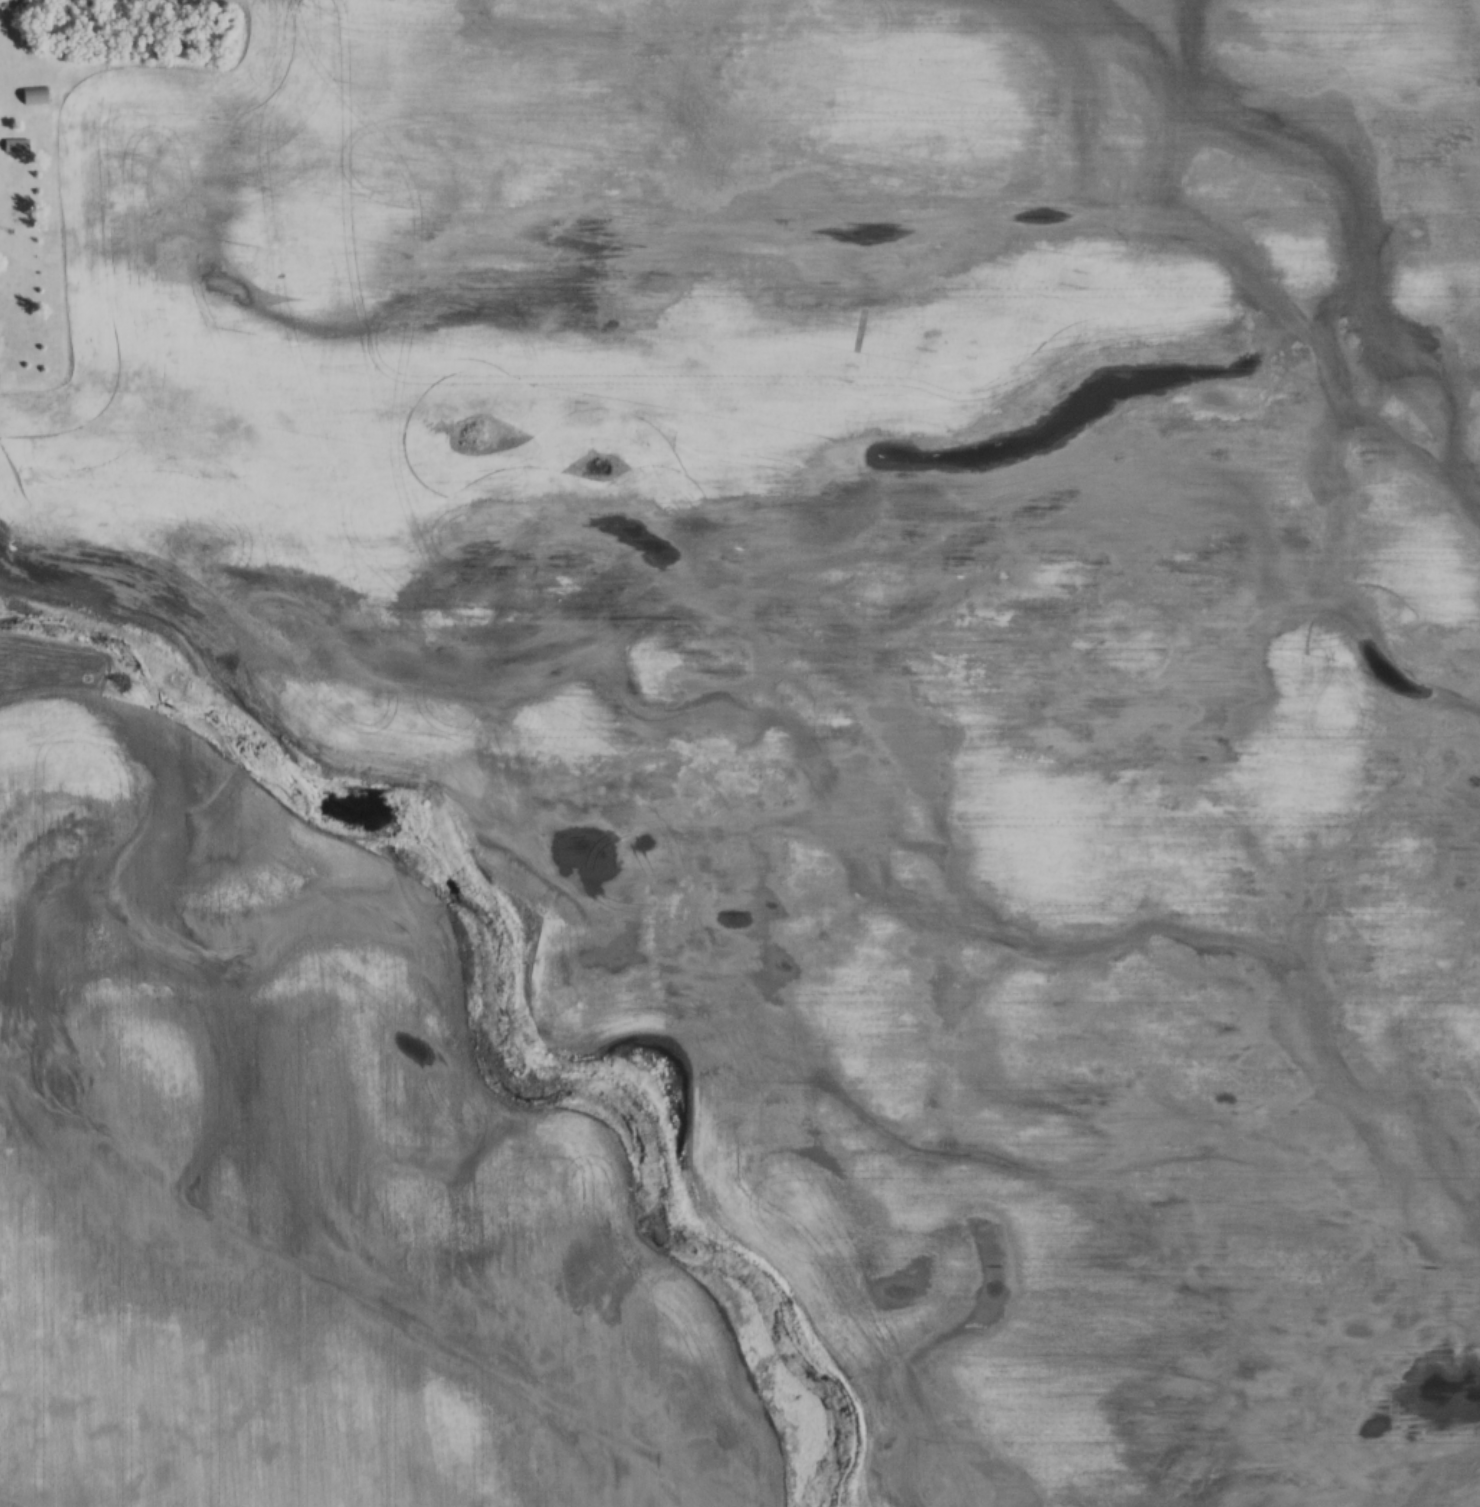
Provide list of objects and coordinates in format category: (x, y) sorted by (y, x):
building: (34, 96)
building: (17, 146)

